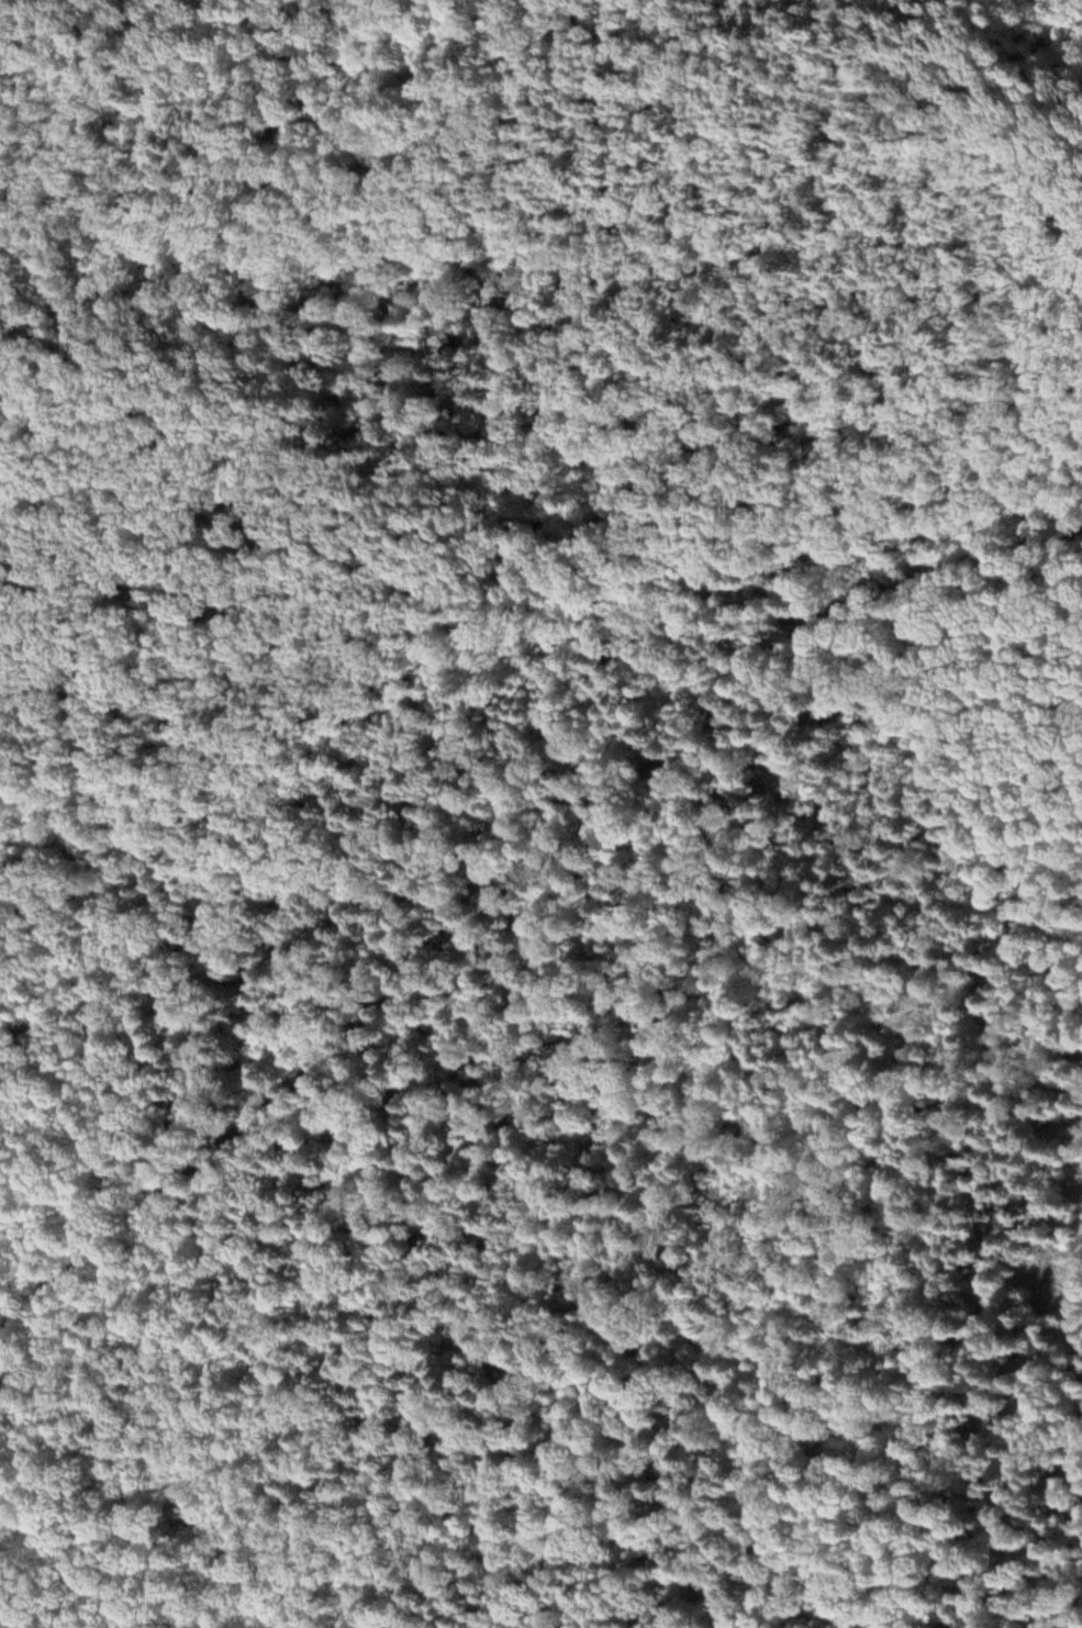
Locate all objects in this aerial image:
road: (510, 883)
road: (18, 1586)

